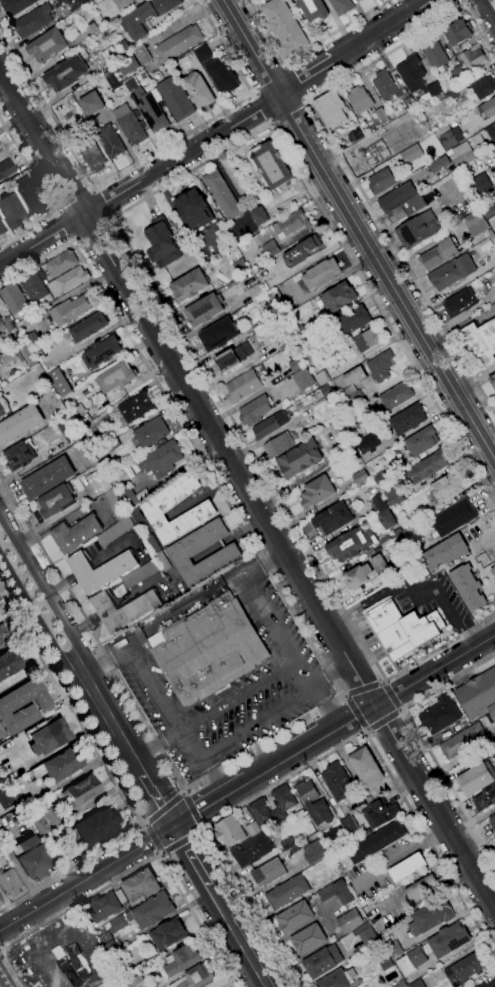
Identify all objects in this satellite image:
building: (358, 1)
building: (121, 3)
road: (465, 3)
building: (16, 6)
building: (342, 6)
road: (491, 6)
building: (313, 10)
building: (146, 17)
building: (33, 21)
building: (283, 27)
road: (384, 32)
building: (457, 32)
building: (177, 43)
building: (48, 46)
building: (464, 46)
road: (304, 52)
building: (109, 55)
building: (142, 55)
building: (435, 55)
building: (473, 58)
building: (127, 65)
road: (284, 66)
building: (217, 70)
building: (66, 74)
building: (457, 74)
building: (416, 78)
road: (305, 79)
building: (113, 80)
road: (292, 84)
building: (384, 85)
building: (483, 87)
building: (198, 90)
road: (253, 95)
building: (448, 95)
building: (175, 99)
road: (303, 100)
building: (359, 100)
building: (92, 103)
building: (409, 104)
road: (262, 106)
building: (487, 109)
building: (150, 110)
building: (331, 110)
building: (381, 115)
road: (269, 121)
building: (406, 121)
building: (494, 124)
building: (129, 125)
building: (355, 135)
building: (446, 137)
building: (477, 140)
building: (110, 142)
road: (43, 144)
building: (494, 148)
building: (2, 153)
building: (376, 153)
building: (411, 153)
building: (91, 154)
road: (338, 156)
building: (461, 158)
road: (140, 159)
building: (439, 164)
building: (270, 165)
building: (5, 168)
building: (456, 177)
building: (381, 181)
road: (141, 183)
building: (481, 183)
road: (92, 190)
road: (43, 192)
building: (221, 195)
building: (396, 196)
building: (30, 197)
road: (74, 202)
road: (98, 206)
building: (194, 209)
building: (406, 209)
building: (488, 210)
building: (12, 211)
road: (57, 211)
building: (259, 215)
road: (108, 219)
building: (475, 223)
building: (289, 224)
road: (66, 225)
building: (2, 228)
road: (89, 228)
road: (359, 230)
building: (416, 230)
building: (494, 233)
road: (119, 234)
building: (494, 234)
road: (73, 240)
building: (162, 243)
building: (270, 248)
building: (302, 251)
building: (438, 254)
building: (61, 263)
building: (240, 267)
building: (451, 272)
building: (321, 274)
building: (72, 279)
building: (190, 285)
building: (35, 286)
building: (255, 292)
building: (338, 297)
building: (14, 299)
building: (276, 303)
building: (460, 303)
building: (205, 309)
building: (69, 310)
building: (0, 320)
building: (352, 321)
road: (460, 326)
building: (6, 327)
building: (88, 327)
building: (294, 331)
building: (219, 334)
building: (32, 339)
building: (367, 340)
building: (482, 342)
building: (103, 352)
building: (305, 352)
building: (19, 355)
building: (233, 357)
building: (296, 365)
building: (380, 367)
building: (354, 376)
building: (117, 377)
building: (321, 378)
road: (474, 378)
building: (302, 379)
building: (492, 381)
building: (0, 383)
building: (59, 383)
building: (242, 386)
building: (326, 391)
building: (396, 396)
building: (350, 398)
building: (136, 407)
building: (3, 409)
building: (254, 411)
building: (408, 419)
building: (20, 424)
building: (270, 425)
building: (356, 429)
building: (65, 432)
building: (151, 432)
building: (421, 441)
building: (278, 445)
building: (111, 446)
building: (20, 456)
building: (161, 459)
building: (299, 459)
road: (230, 461)
building: (427, 467)
building: (379, 476)
building: (360, 477)
building: (48, 478)
building: (99, 483)
building: (447, 486)
building: (317, 492)
building: (393, 497)
building: (128, 499)
building: (56, 501)
building: (379, 504)
building: (115, 505)
building: (202, 510)
building: (454, 517)
building: (333, 519)
building: (387, 519)
building: (115, 531)
building: (76, 533)
building: (398, 534)
building: (384, 541)
building: (152, 544)
building: (351, 544)
building: (445, 552)
building: (183, 553)
road: (265, 558)
building: (162, 561)
building: (494, 561)
building: (100, 570)
building: (493, 571)
building: (365, 573)
building: (140, 574)
building: (468, 587)
road: (409, 589)
road: (47, 593)
building: (123, 610)
building: (0, 618)
road: (39, 619)
road: (282, 626)
building: (403, 629)
building: (4, 635)
road: (377, 641)
road: (124, 642)
building: (209, 649)
flagpole: (393, 662)
building: (9, 663)
road: (106, 663)
road: (327, 667)
road: (435, 670)
road: (330, 672)
road: (382, 680)
road: (362, 689)
road: (342, 695)
building: (478, 695)
road: (389, 696)
road: (240, 697)
road: (325, 705)
building: (10, 706)
road: (399, 710)
road: (355, 712)
building: (440, 715)
road: (381, 719)
road: (113, 722)
road: (260, 725)
road: (365, 731)
building: (47, 736)
road: (419, 741)
building: (462, 741)
road: (313, 742)
road: (157, 745)
road: (317, 759)
building: (60, 765)
building: (365, 766)
road: (112, 776)
road: (214, 777)
building: (476, 778)
building: (337, 782)
building: (82, 790)
road: (181, 791)
building: (6, 798)
road: (157, 798)
building: (485, 798)
road: (213, 801)
building: (320, 803)
building: (257, 805)
road: (434, 807)
road: (162, 809)
road: (191, 810)
building: (380, 814)
building: (492, 822)
road: (141, 824)
building: (349, 825)
building: (40, 826)
building: (96, 826)
traffic signals: (175, 826)
road: (204, 829)
building: (253, 829)
building: (229, 831)
building: (367, 833)
building: (331, 835)
building: (494, 837)
road: (151, 838)
building: (49, 841)
road: (180, 841)
building: (286, 843)
building: (376, 843)
building: (252, 850)
building: (314, 852)
road: (159, 853)
building: (29, 856)
road: (191, 856)
road: (144, 862)
building: (406, 868)
building: (268, 872)
road: (87, 878)
building: (10, 883)
building: (142, 885)
building: (423, 890)
building: (287, 892)
building: (337, 893)
building: (121, 897)
building: (0, 899)
building: (0, 902)
building: (103, 908)
building: (152, 911)
building: (294, 917)
building: (431, 917)
building: (350, 921)
road: (293, 932)
building: (109, 933)
building: (168, 934)
road: (238, 937)
building: (369, 938)
building: (308, 939)
building: (433, 948)
building: (394, 950)
building: (183, 960)
building: (323, 962)
building: (385, 963)
road: (10, 969)
building: (465, 969)
building: (129, 970)
road: (230, 974)
building: (194, 978)
building: (338, 979)
building: (138, 982)
building: (401, 984)
building: (417, 984)

